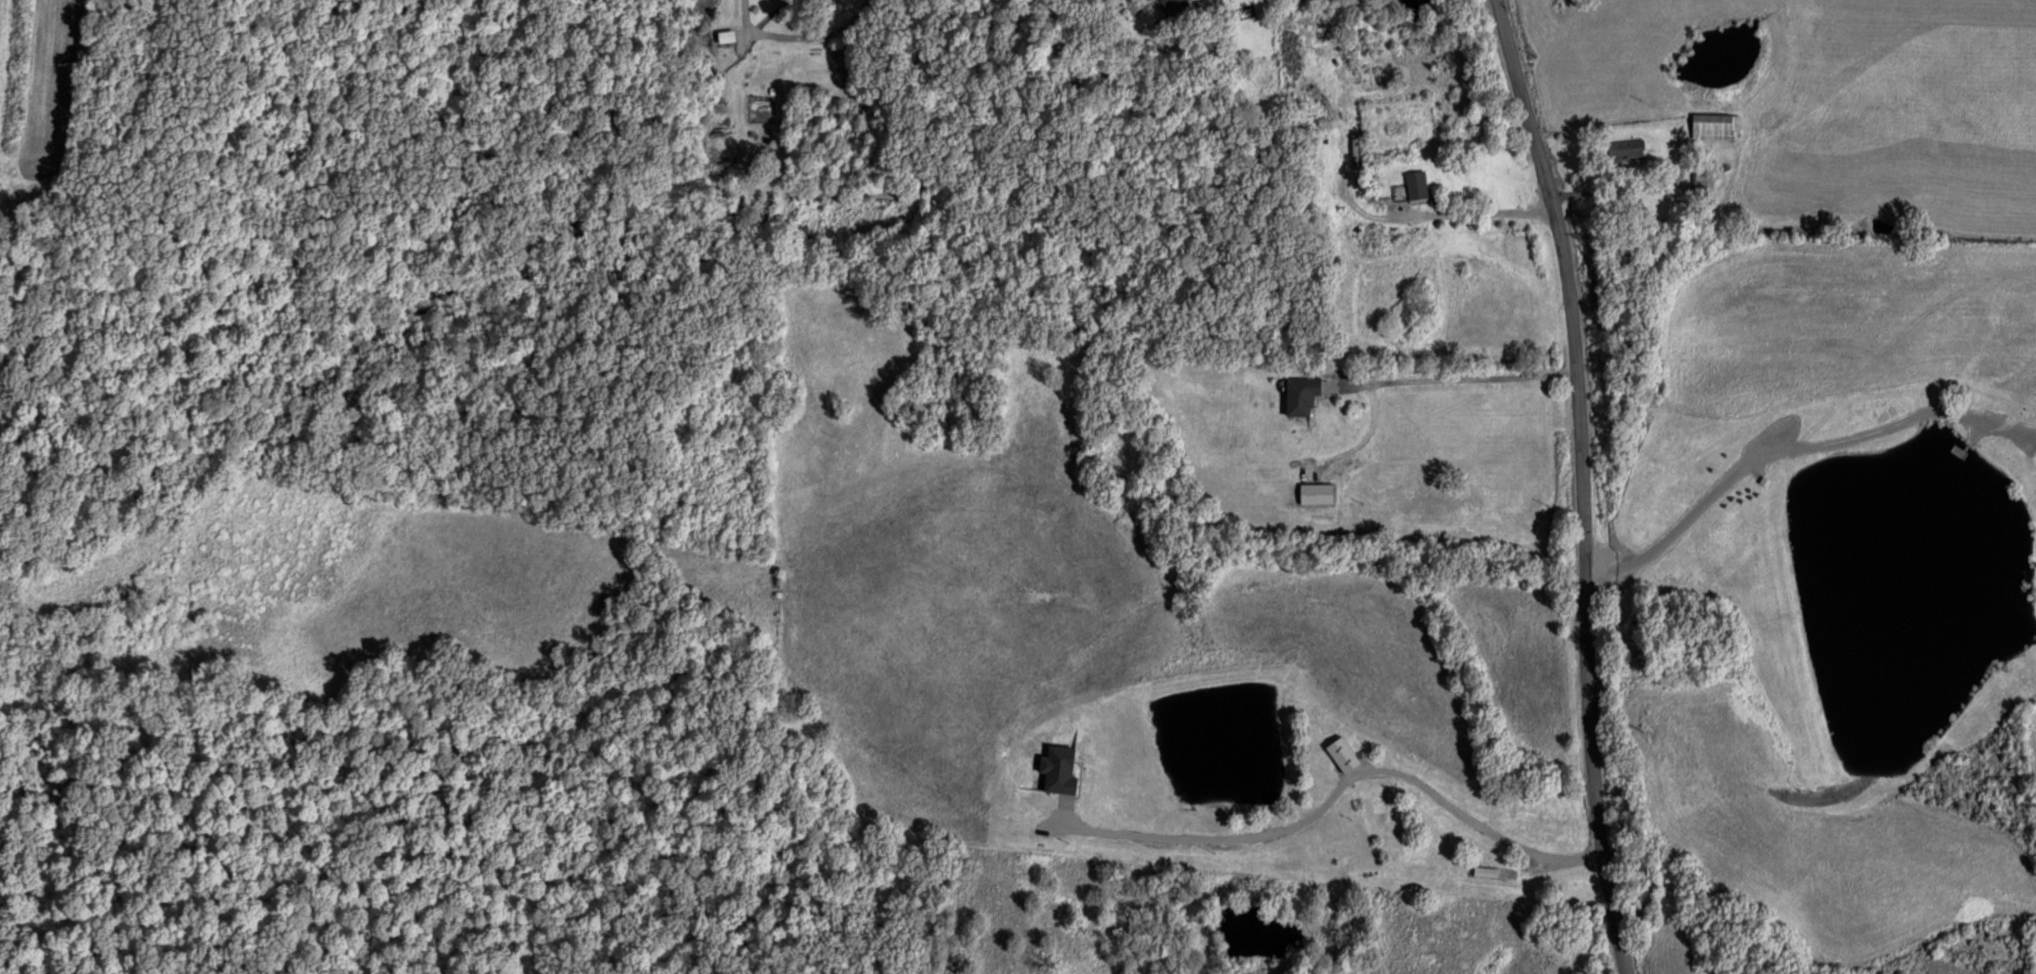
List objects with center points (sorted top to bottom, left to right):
building: (1144, 0)
building: (1171, 5)
building: (1309, 33)
road: (798, 35)
building: (1713, 126)
building: (1625, 148)
building: (1699, 185)
building: (1411, 187)
building: (1299, 396)
road: (1582, 484)
building: (1341, 754)
road: (1469, 818)
building: (1491, 872)

